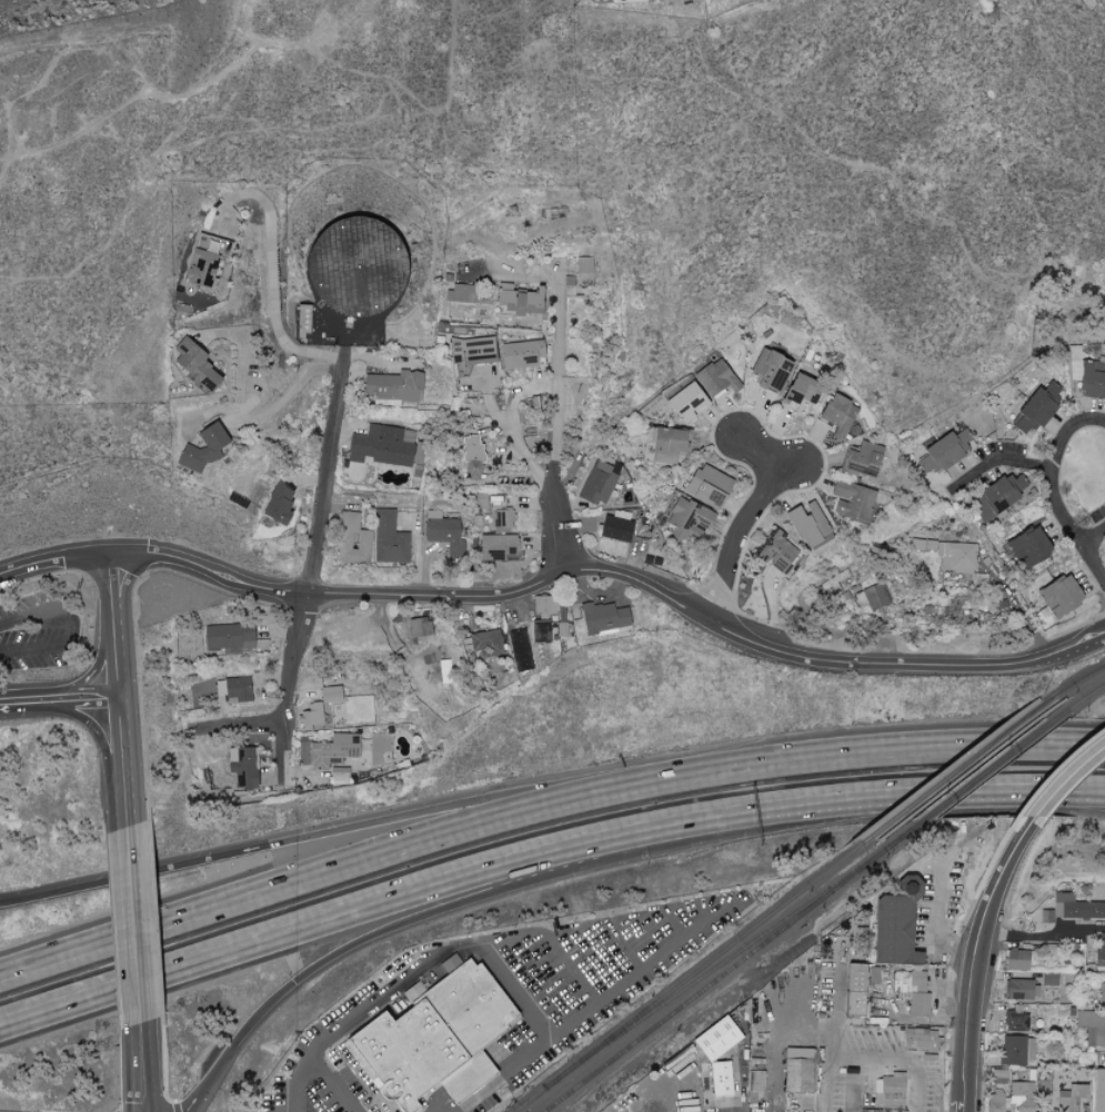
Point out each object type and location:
building: (354, 264)
building: (200, 265)
road: (272, 269)
building: (583, 270)
storage tank: (358, 273)
building: (460, 292)
building: (519, 299)
building: (303, 320)
building: (471, 350)
building: (521, 353)
building: (194, 364)
building: (770, 370)
road: (556, 374)
building: (715, 377)
building: (1092, 378)
building: (392, 385)
building: (800, 390)
building: (686, 401)
building: (1037, 406)
building: (837, 414)
road: (240, 419)
road: (513, 436)
building: (667, 443)
building: (382, 444)
building: (201, 449)
building: (944, 451)
road: (760, 456)
building: (862, 457)
building: (473, 458)
road: (997, 461)
road: (1055, 469)
road: (325, 475)
building: (597, 483)
building: (707, 486)
building: (997, 495)
building: (851, 501)
building: (278, 503)
building: (502, 518)
building: (689, 519)
building: (808, 524)
road: (551, 525)
building: (615, 528)
road: (737, 530)
building: (443, 532)
road: (1092, 536)
building: (389, 538)
building: (352, 539)
building: (496, 547)
building: (1028, 547)
building: (776, 552)
building: (956, 556)
road: (1092, 566)
road: (560, 574)
building: (1059, 595)
building: (872, 596)
building: (544, 605)
road: (114, 617)
building: (602, 617)
road: (71, 626)
building: (540, 630)
building: (228, 636)
building: (486, 643)
building: (519, 649)
building: (444, 670)
railway: (1079, 680)
road: (59, 688)
building: (234, 688)
road: (287, 691)
building: (330, 694)
railway: (1086, 696)
road: (88, 706)
road: (28, 709)
building: (314, 717)
road: (238, 728)
road: (925, 747)
building: (332, 749)
road: (123, 750)
road: (106, 751)
building: (242, 766)
railway: (958, 768)
railway: (992, 768)
building: (339, 771)
road: (1059, 788)
road: (917, 795)
road: (372, 823)
road: (369, 857)
road: (361, 907)
building: (1072, 908)
road: (445, 912)
road: (934, 920)
road: (673, 921)
road: (138, 922)
building: (895, 923)
road: (574, 927)
road: (1045, 934)
road: (623, 944)
building: (1101, 950)
building: (1016, 960)
road: (572, 968)
railway: (716, 968)
railway: (729, 969)
road: (972, 970)
railway: (689, 979)
building: (1048, 979)
road: (950, 985)
building: (912, 989)
building: (1017, 989)
road: (514, 990)
building: (854, 990)
building: (1102, 992)
road: (581, 1013)
road: (915, 1020)
building: (1015, 1021)
road: (345, 1024)
road: (836, 1025)
building: (1092, 1027)
building: (433, 1038)
building: (716, 1039)
building: (920, 1040)
building: (1016, 1050)
building: (797, 1053)
road: (148, 1063)
building: (797, 1075)
building: (999, 1076)
building: (720, 1079)
building: (755, 1081)
road: (331, 1083)
building: (1098, 1090)
building: (892, 1092)
building: (1022, 1096)
building: (1069, 1096)
road: (195, 1100)
building: (995, 1101)
road: (279, 1106)
road: (144, 1108)
road: (149, 1108)

